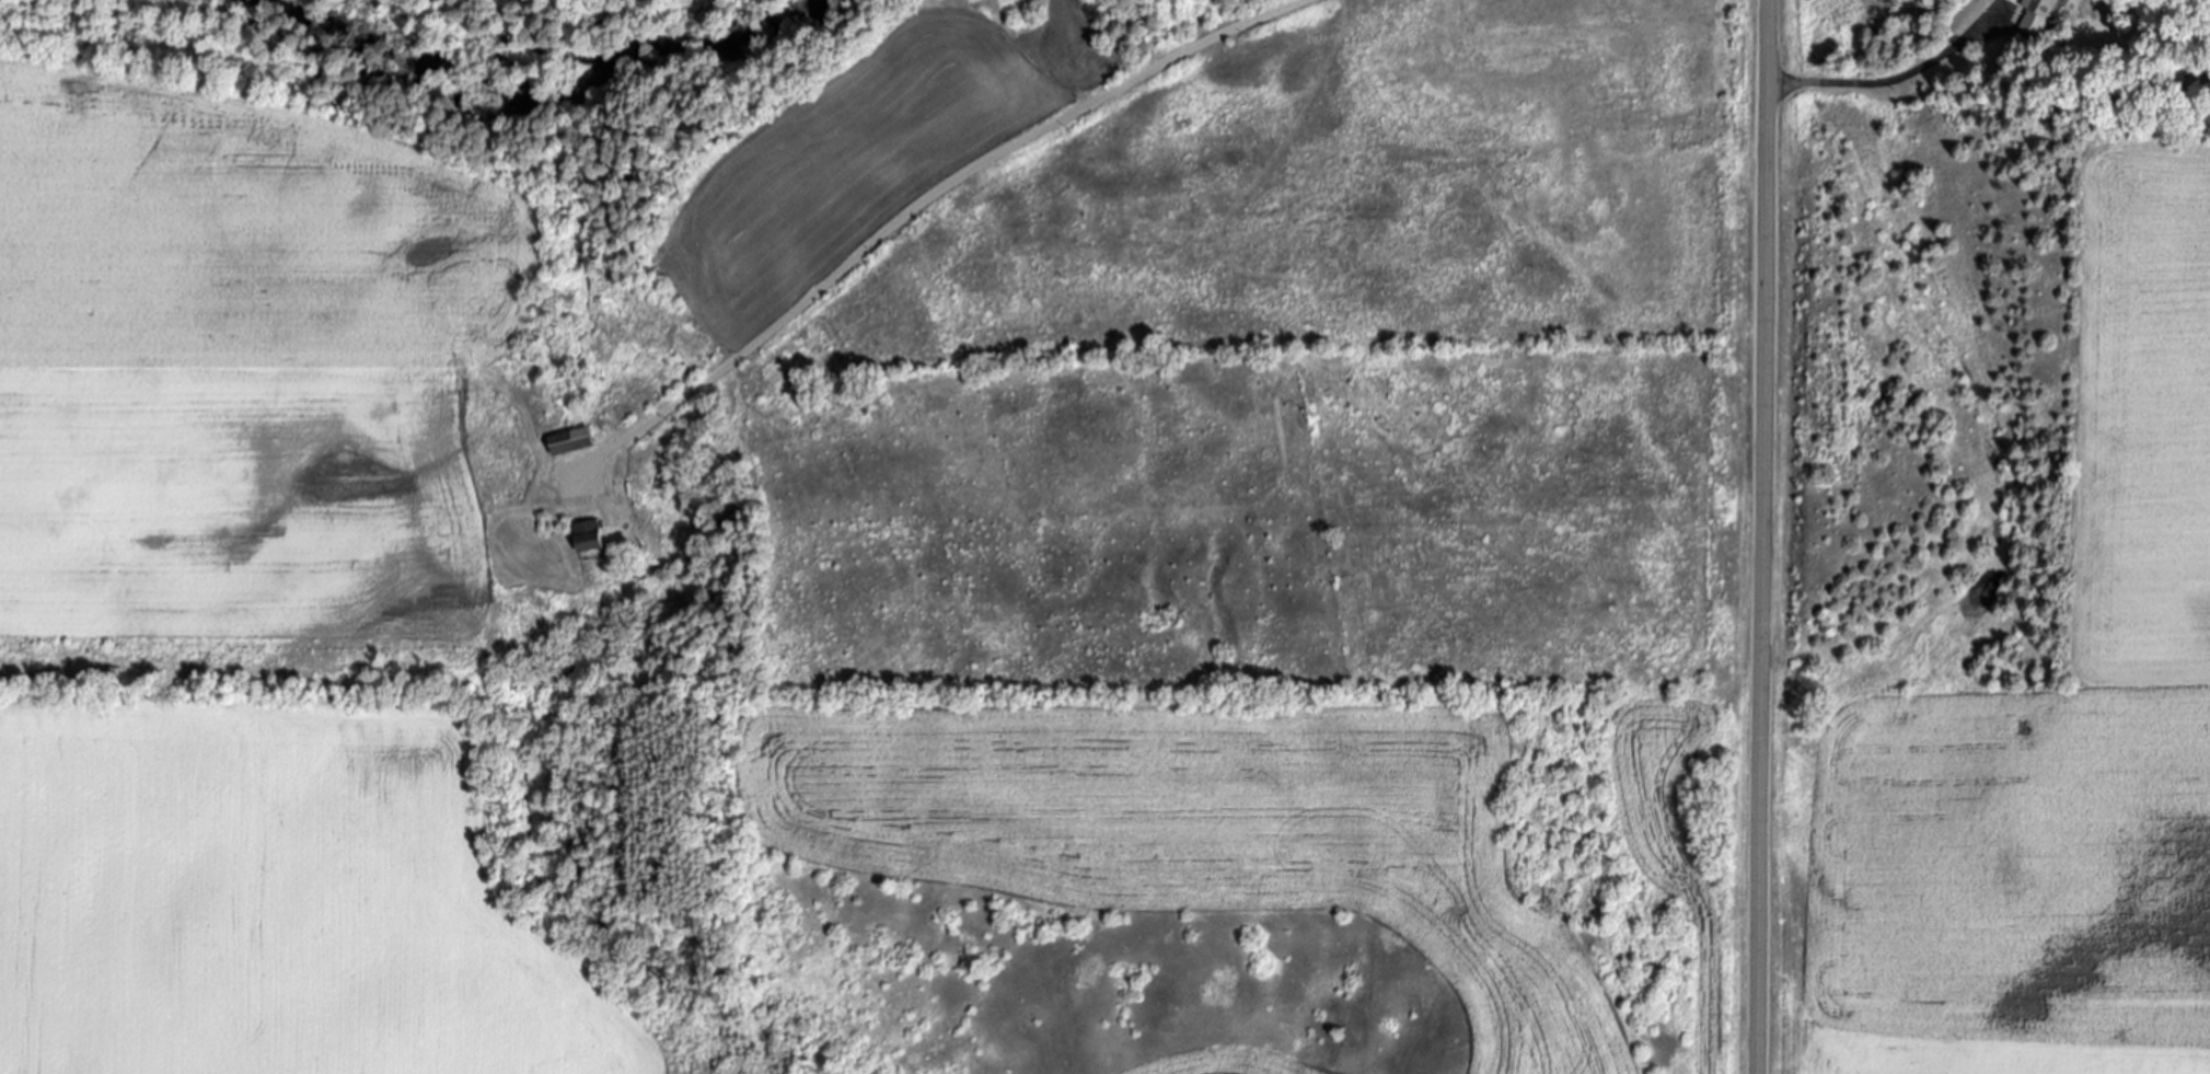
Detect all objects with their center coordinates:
building: (2035, 15)
road: (1887, 82)
river: (530, 85)
road: (918, 203)
building: (574, 442)
building: (590, 536)
road: (1762, 536)

